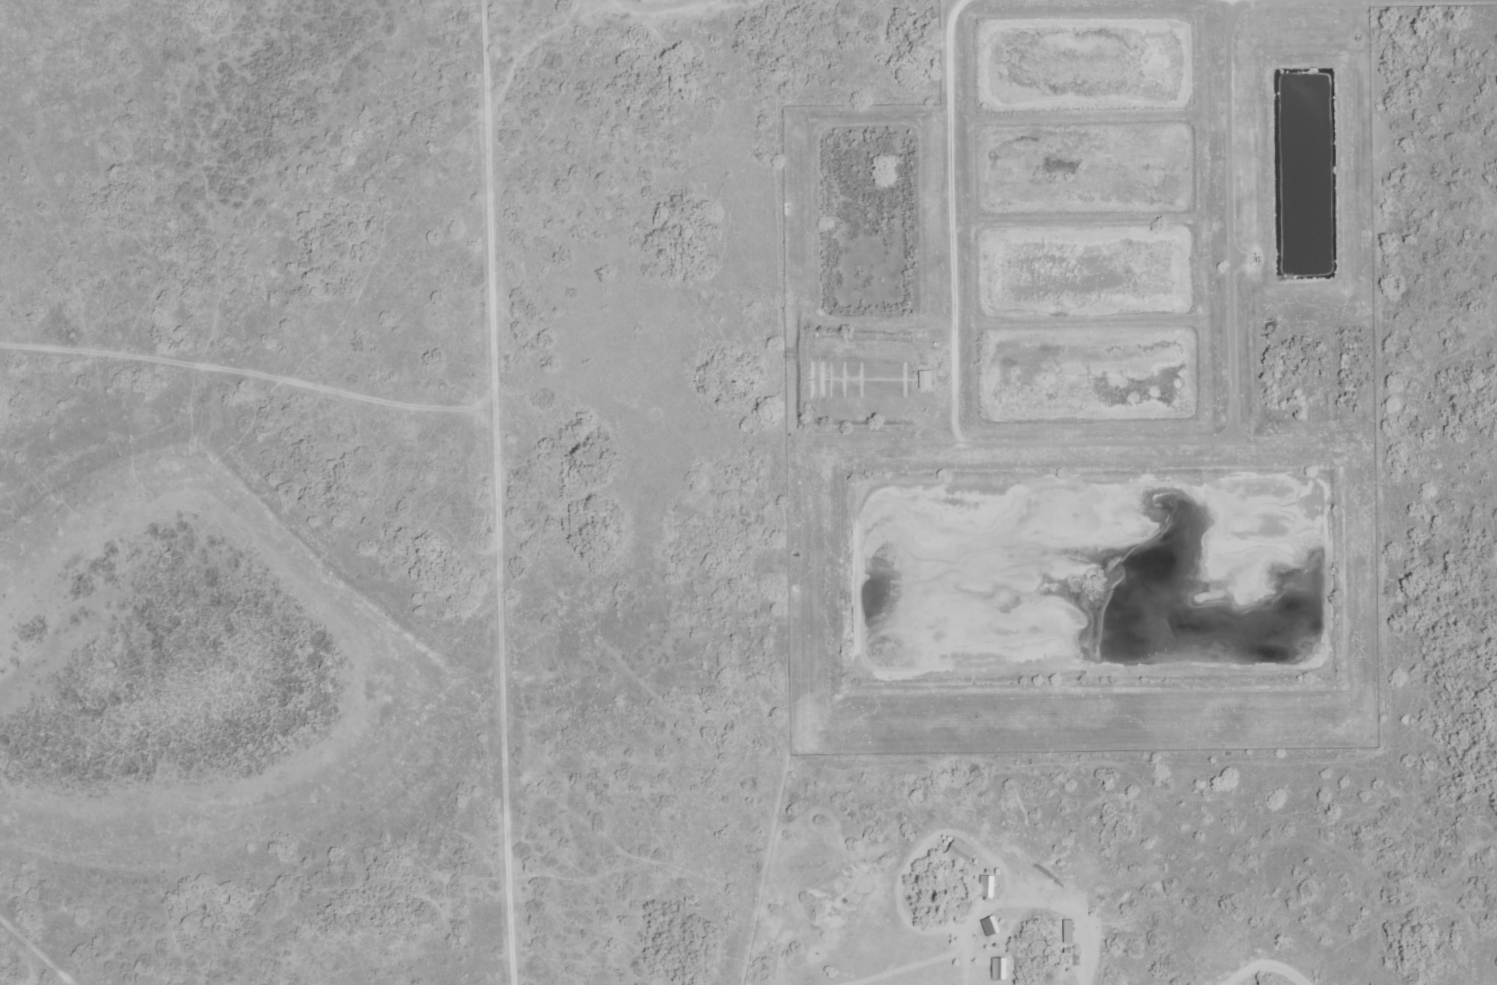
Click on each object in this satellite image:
building: (926, 378)

